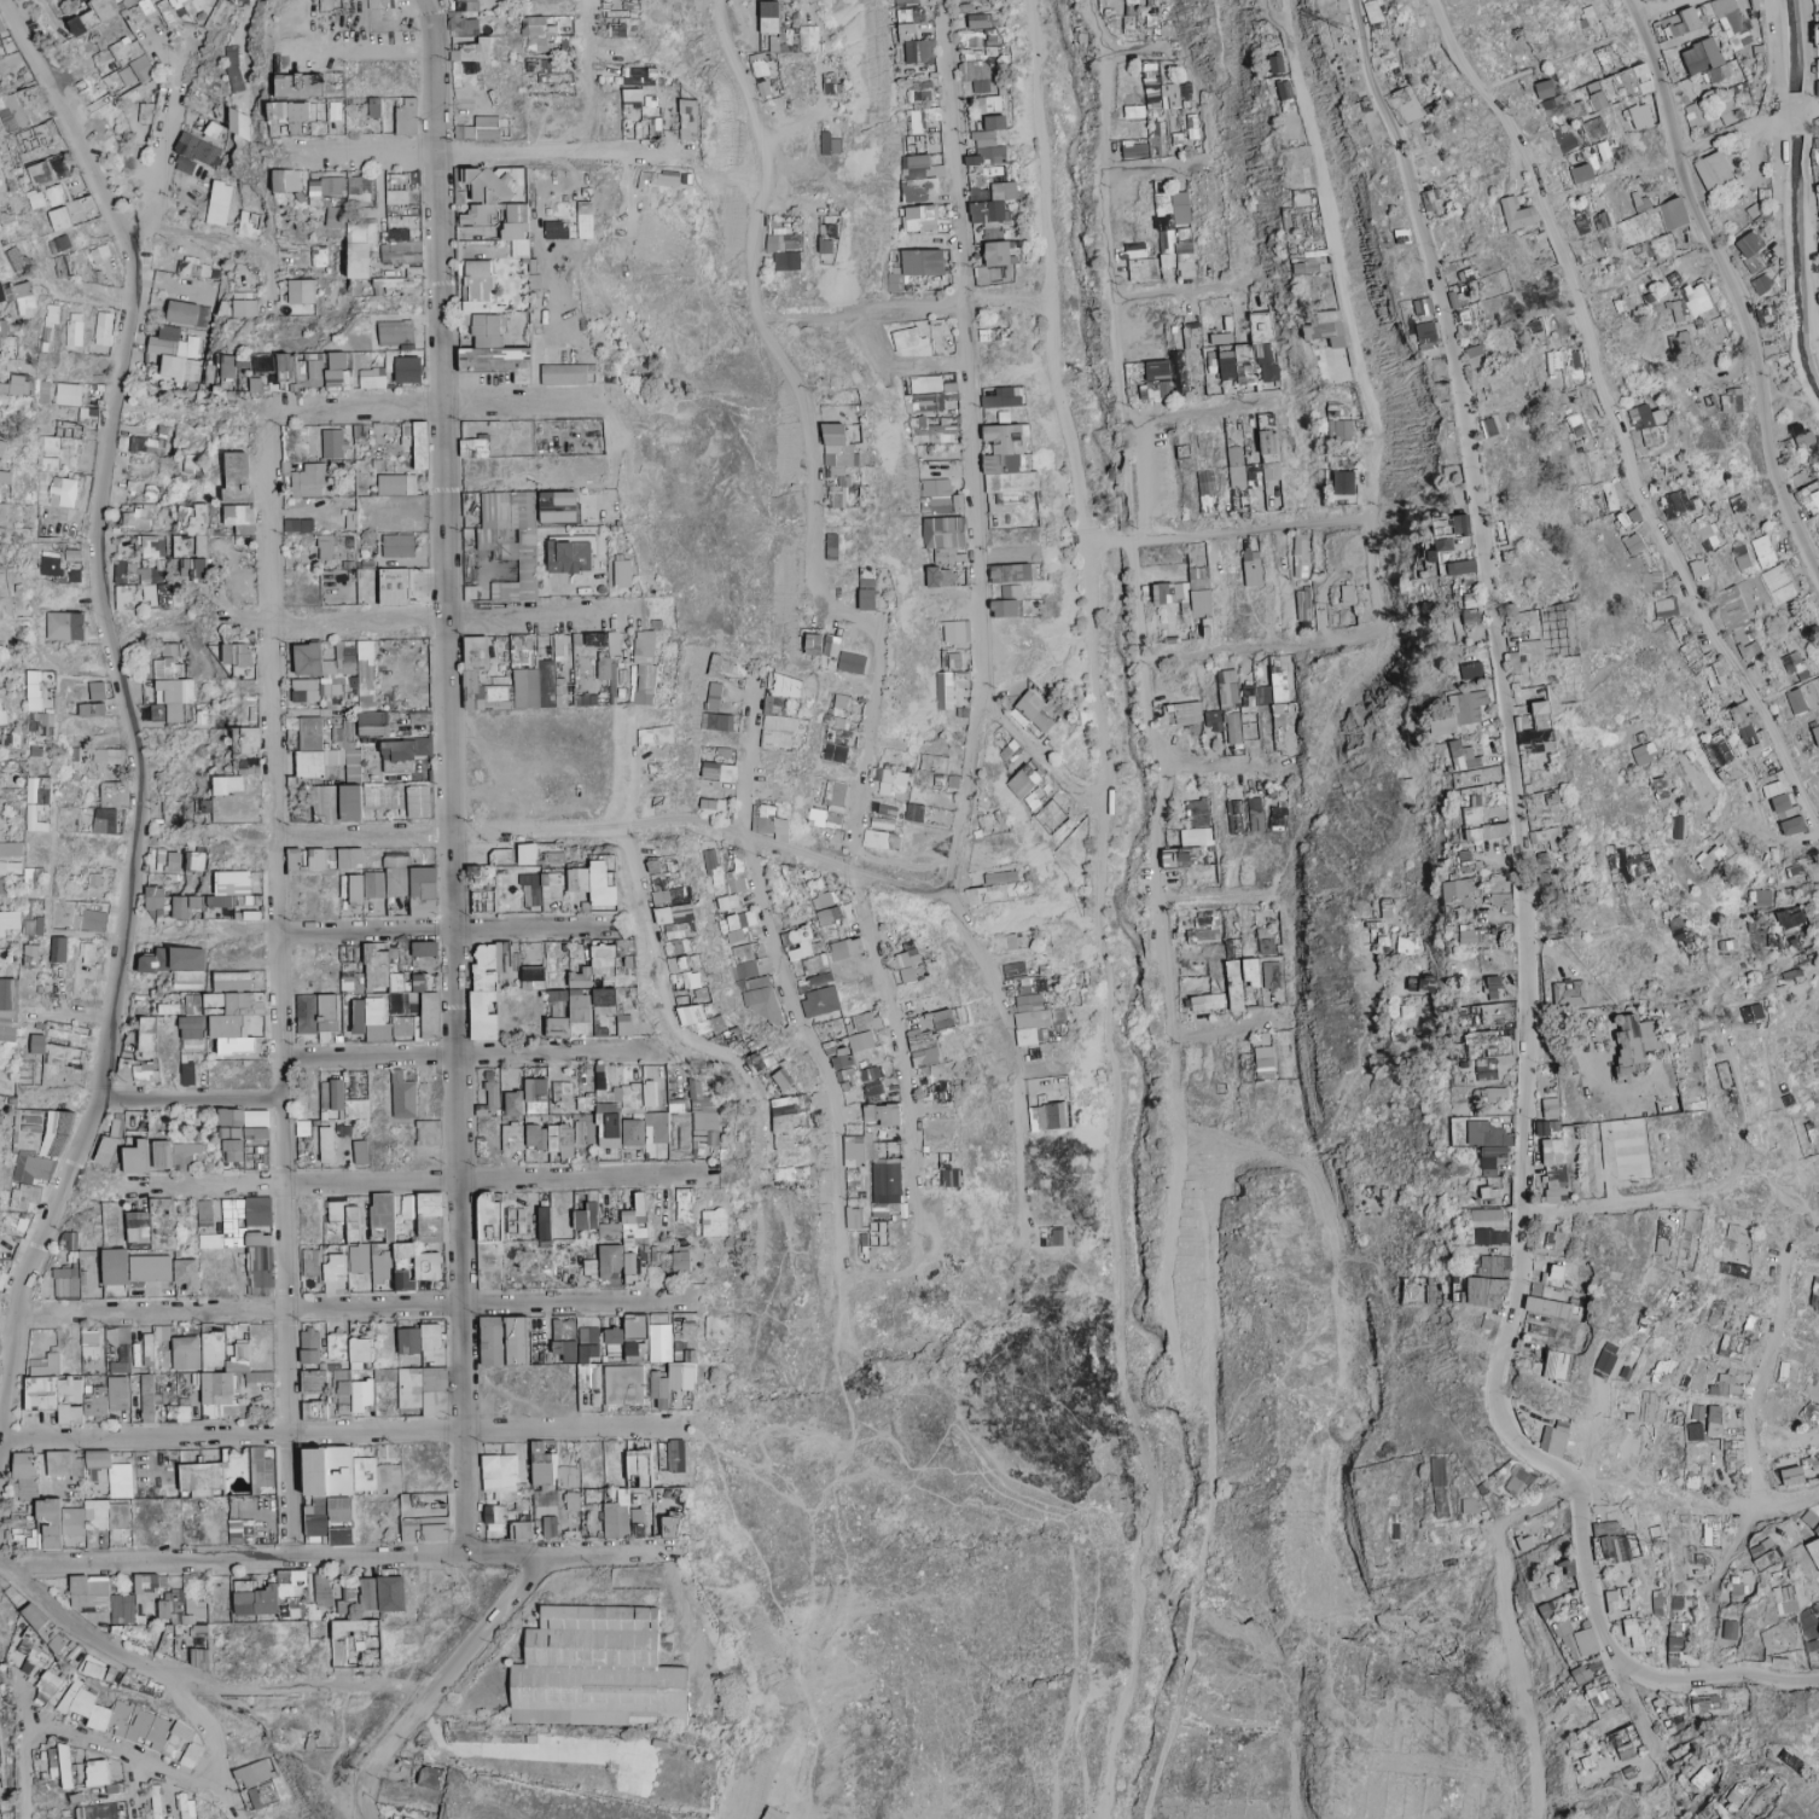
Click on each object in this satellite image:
park: (1651, 0)

